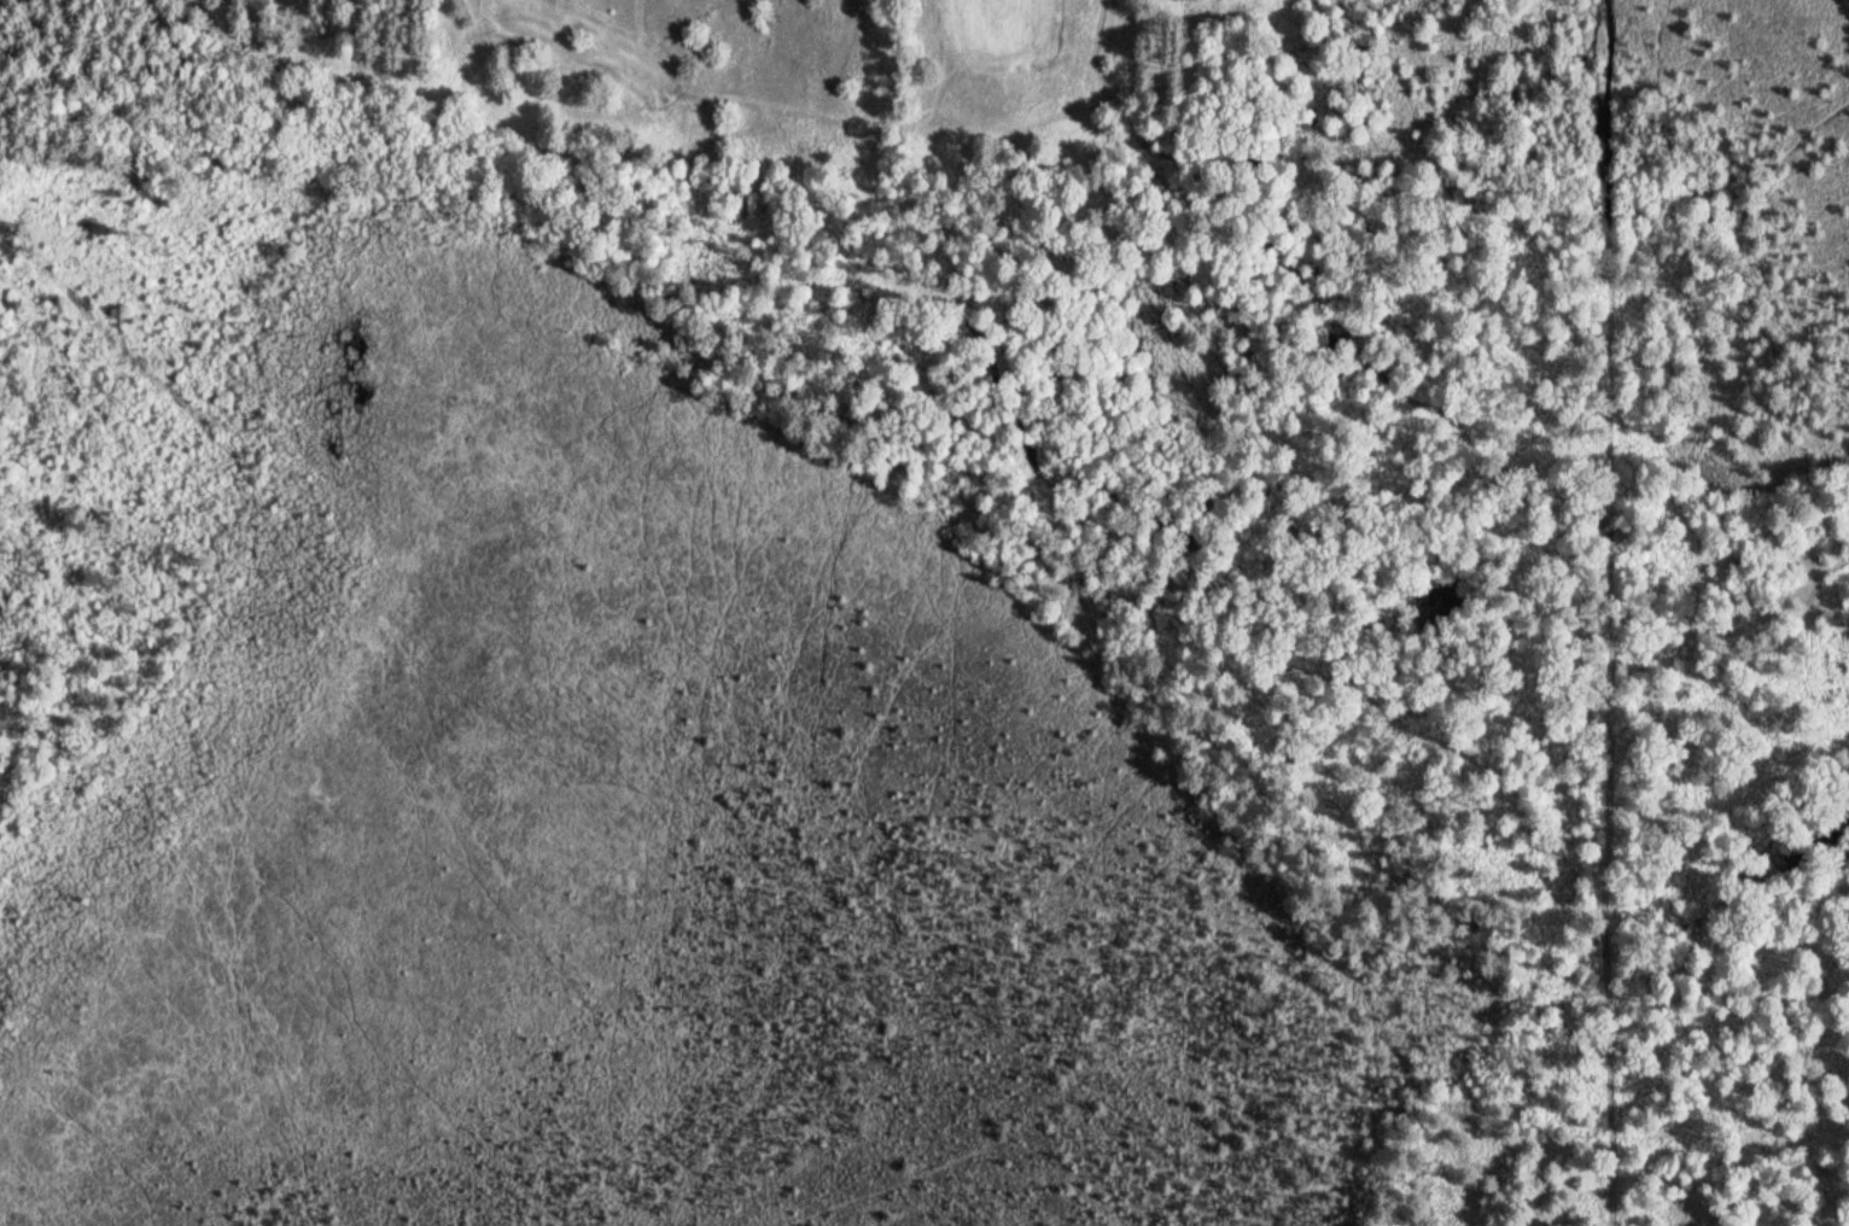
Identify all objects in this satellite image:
road: (1837, 562)

